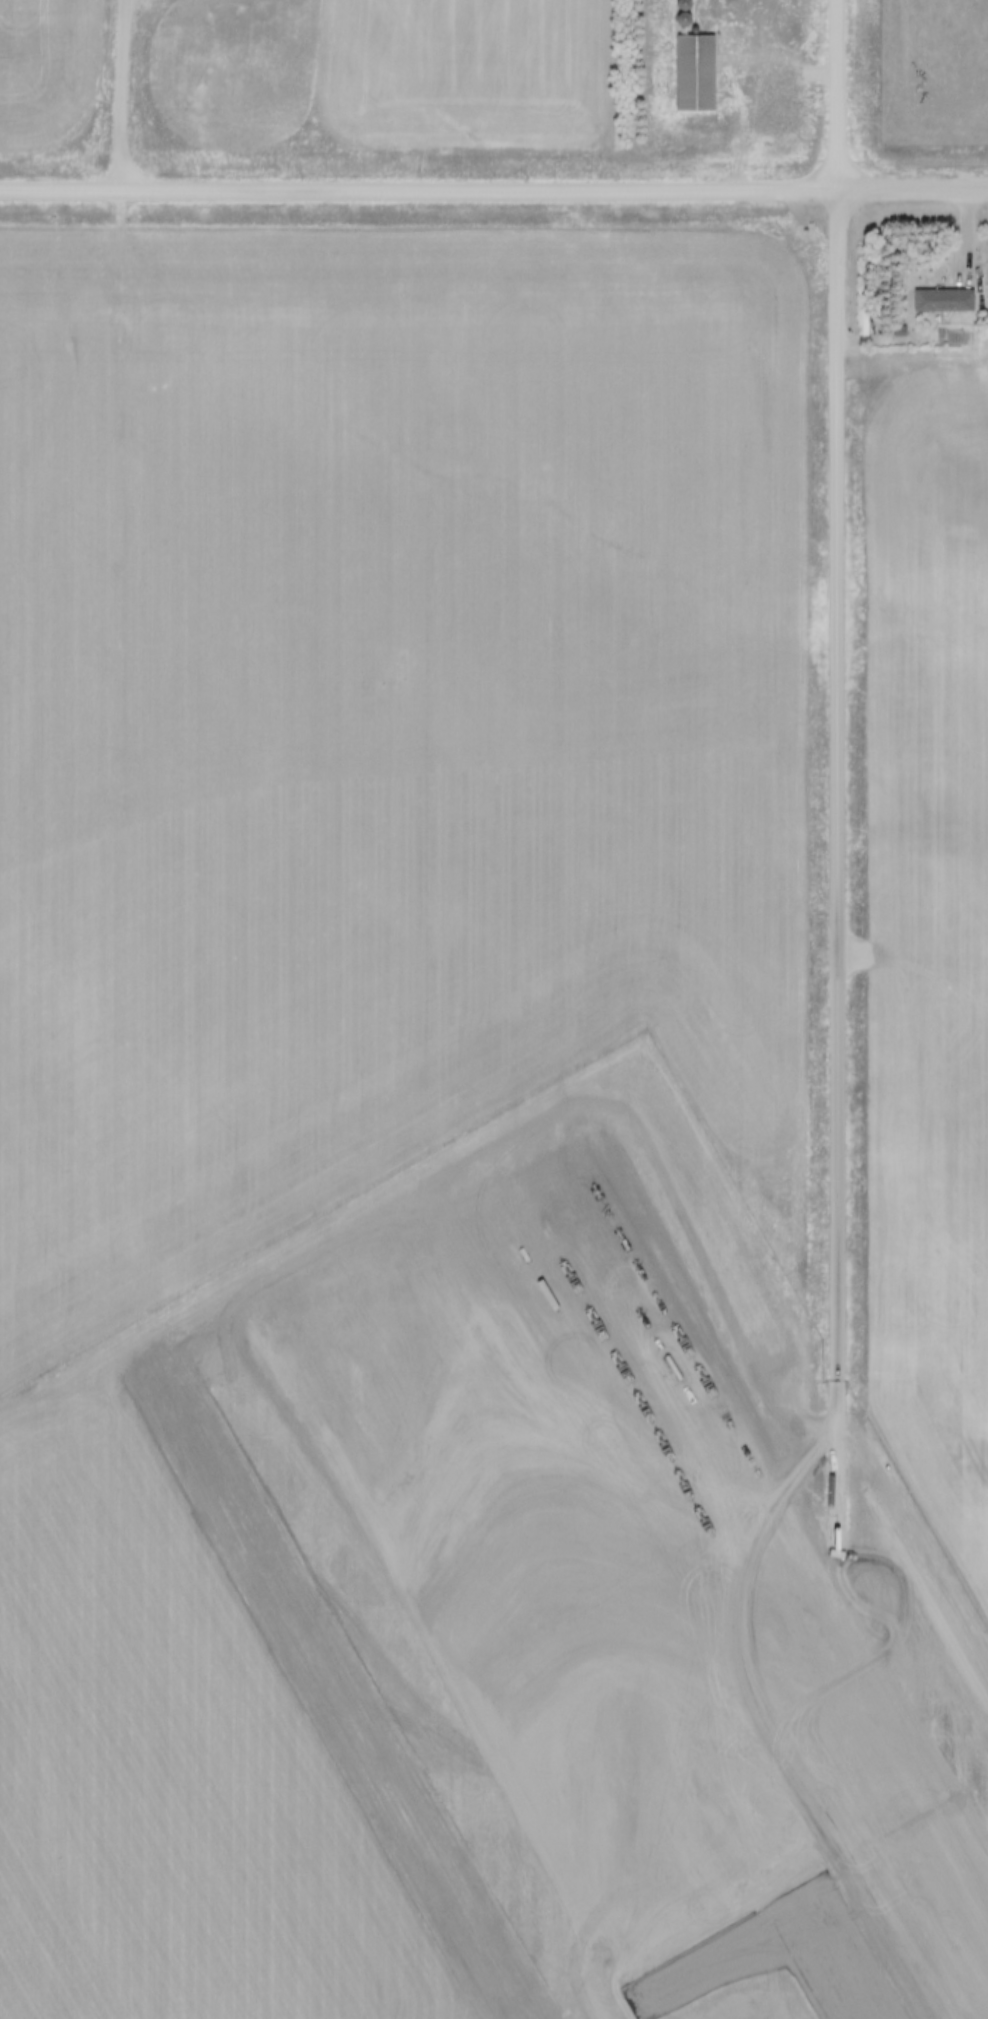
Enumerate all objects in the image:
building: (698, 64)
road: (751, 86)
road: (123, 90)
road: (836, 90)
road: (493, 181)
building: (945, 289)
crop: (385, 705)
road: (832, 866)
crop: (926, 959)
building: (836, 966)
airport: (481, 1614)
airport runway: (817, 1956)
airport taxiway: (706, 1966)

